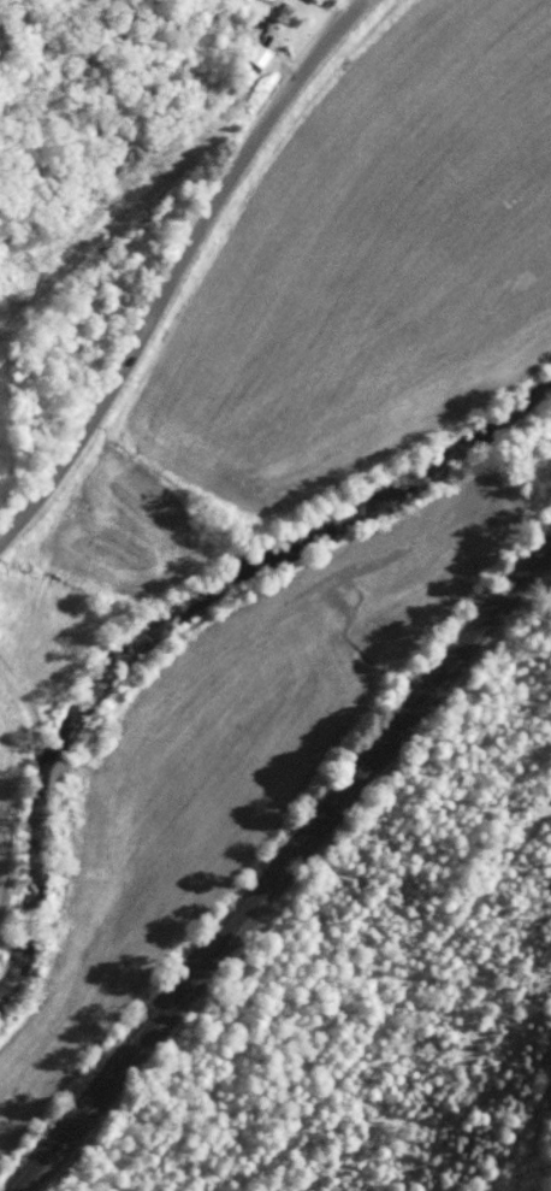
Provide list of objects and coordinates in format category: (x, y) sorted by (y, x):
building: (309, 0)
building: (318, 1)
building: (255, 54)
road: (207, 220)
road: (36, 502)
railway: (279, 866)

